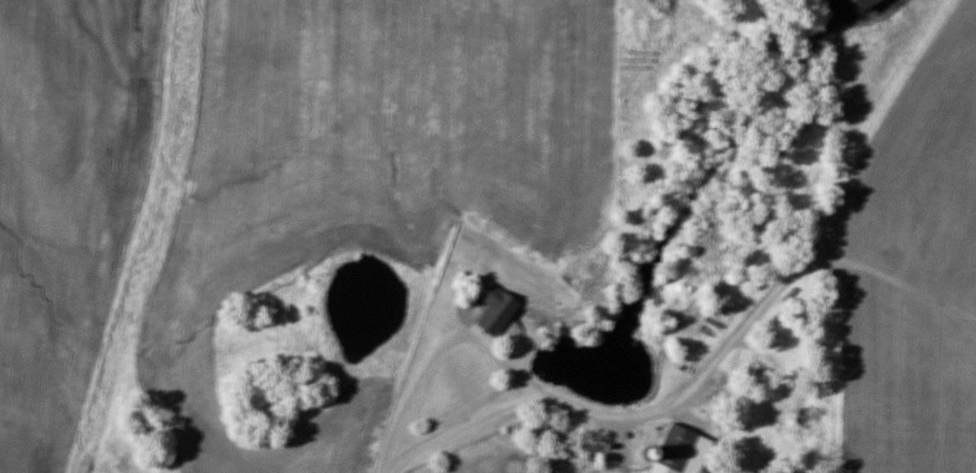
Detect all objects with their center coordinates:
building: (498, 307)
building: (680, 451)

